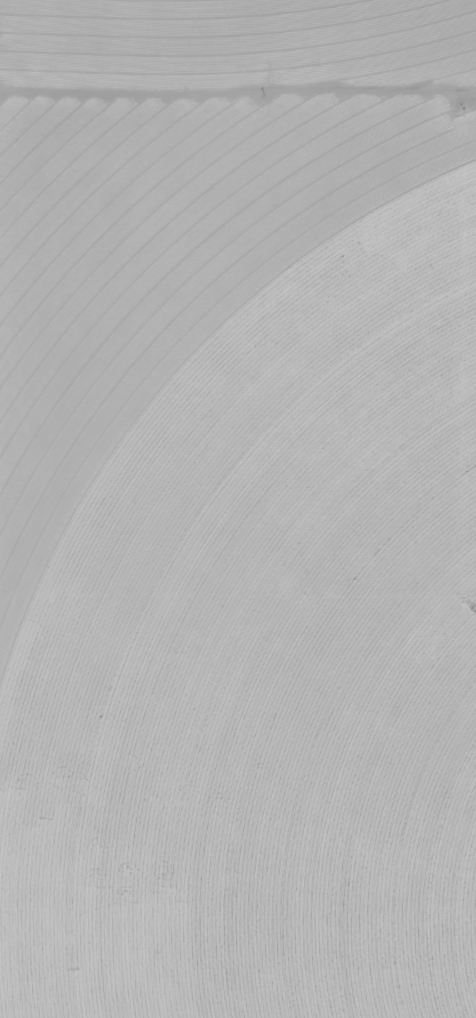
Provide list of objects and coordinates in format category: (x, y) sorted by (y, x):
road: (238, 115)

